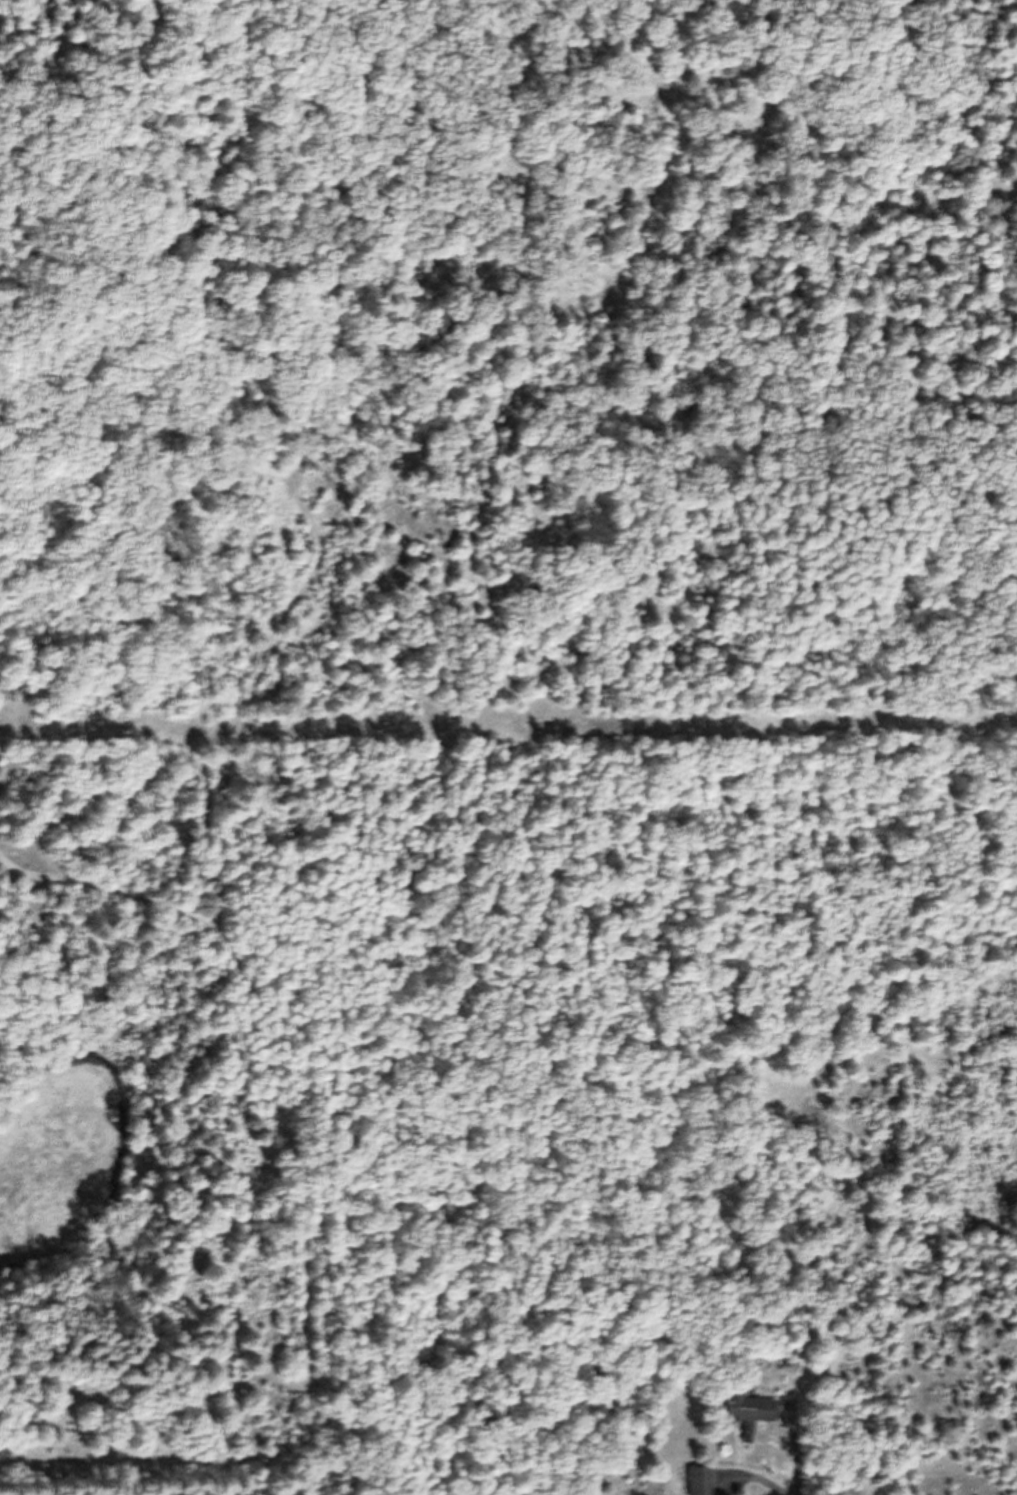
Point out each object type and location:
building: (749, 1415)
building: (696, 1485)

